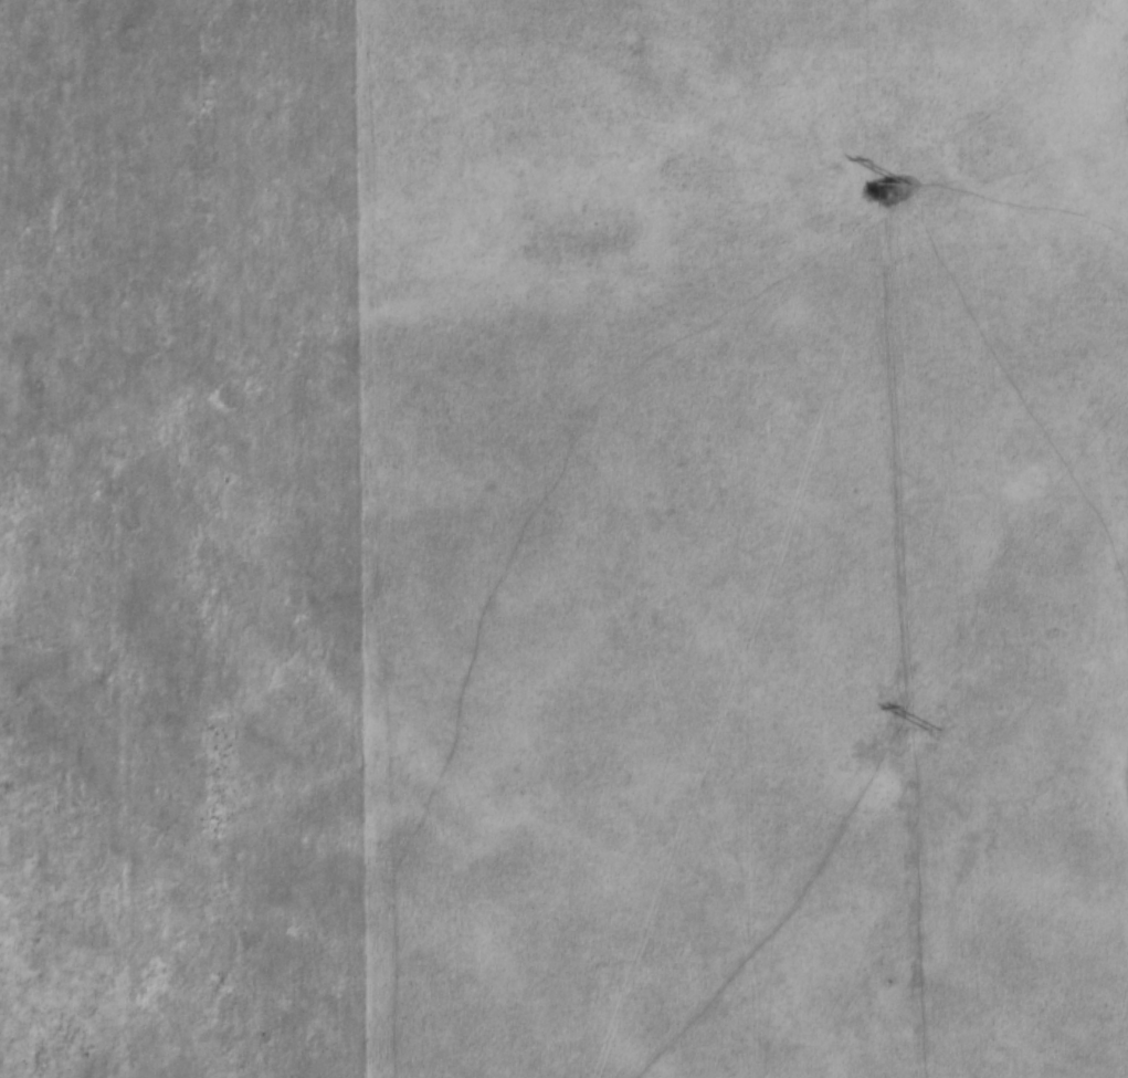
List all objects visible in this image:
power tower: (900, 181)
power tower: (930, 732)

